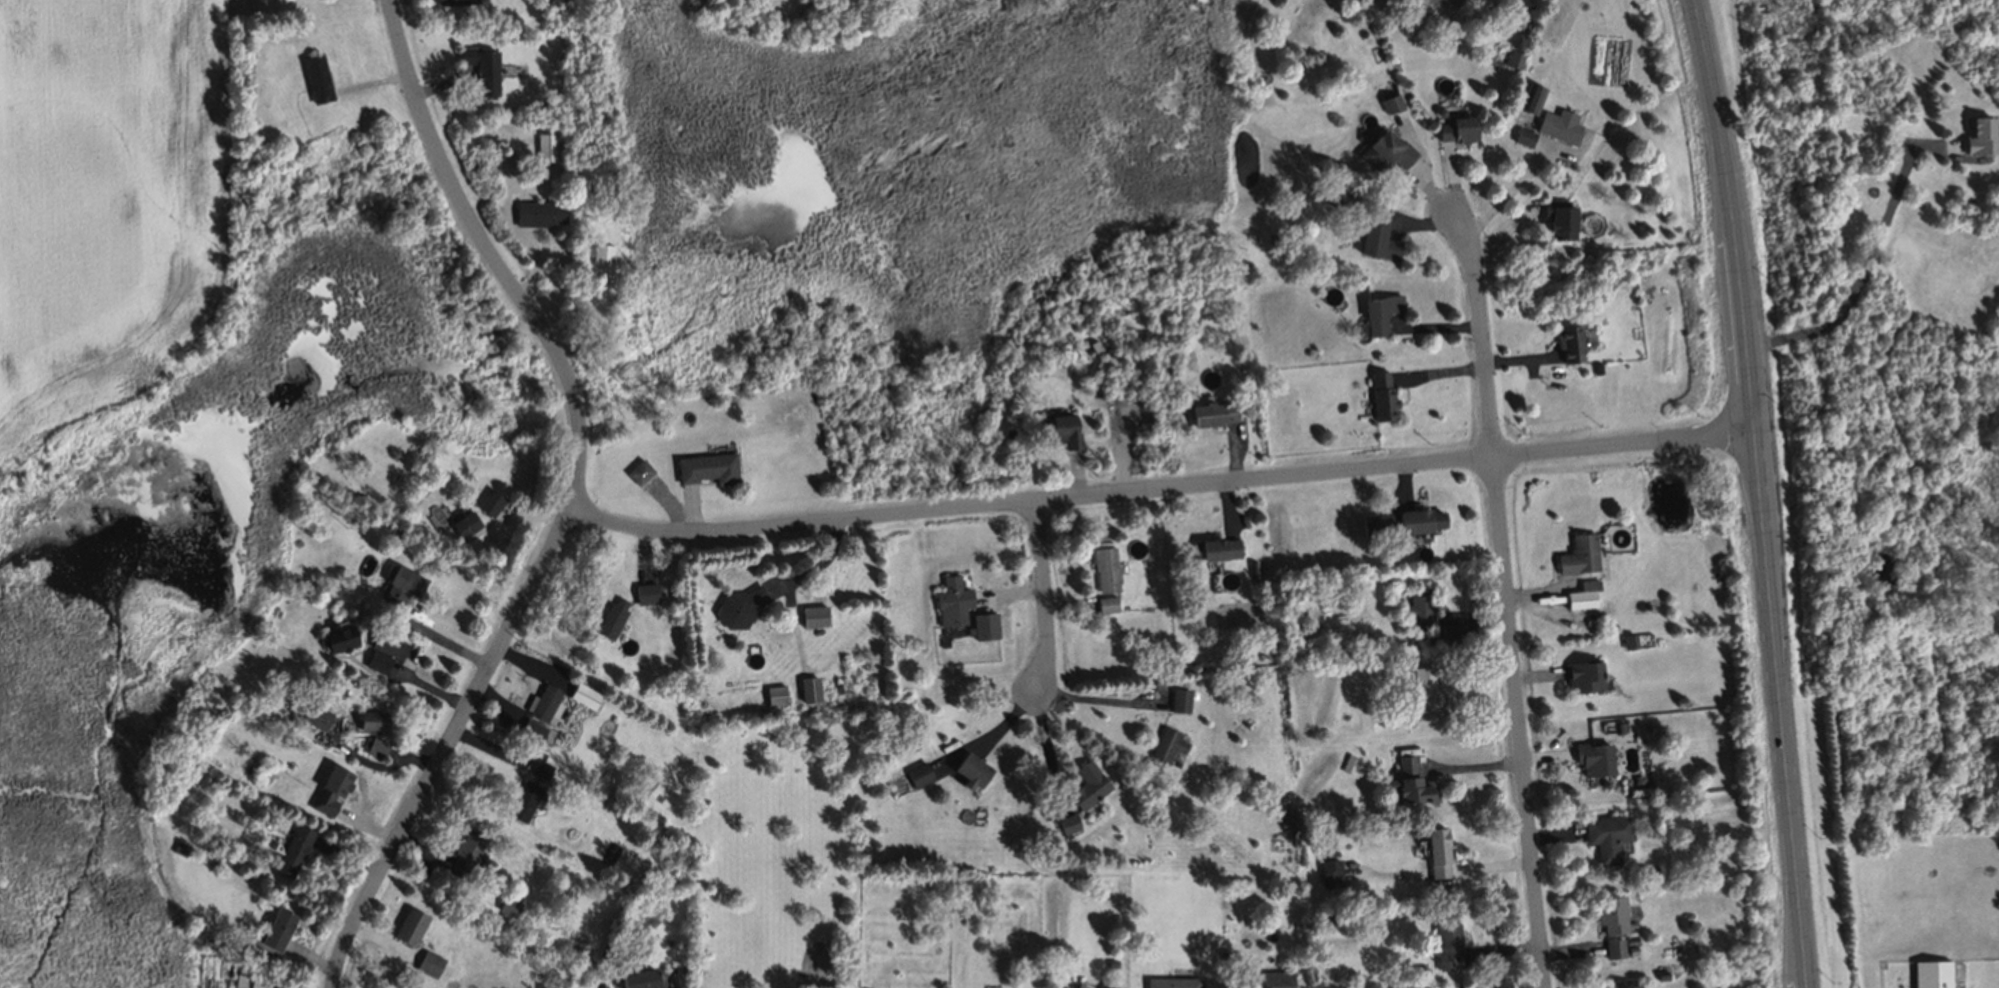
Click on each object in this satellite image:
building: (455, 1)
building: (1522, 26)
building: (1513, 58)
building: (481, 66)
building: (315, 77)
building: (1530, 97)
building: (544, 98)
building: (1391, 103)
building: (1439, 110)
building: (1557, 125)
building: (1456, 129)
building: (1980, 136)
building: (1522, 137)
building: (544, 146)
building: (1386, 150)
building: (566, 172)
building: (1332, 192)
road: (1505, 196)
building: (538, 212)
building: (1557, 218)
building: (1375, 239)
building: (601, 253)
road: (1865, 264)
building: (1377, 311)
building: (1568, 343)
building: (1596, 367)
building: (1381, 396)
building: (1212, 412)
building: (1060, 429)
building: (707, 467)
building: (638, 471)
road: (1165, 491)
road: (1761, 492)
building: (489, 501)
road: (578, 501)
building: (1418, 520)
building: (464, 523)
building: (1375, 525)
building: (1215, 549)
building: (1577, 554)
building: (1394, 557)
building: (1103, 567)
building: (1250, 567)
building: (1253, 578)
building: (399, 584)
building: (646, 591)
road: (1045, 597)
road: (1509, 597)
building: (1579, 598)
building: (951, 600)
building: (1104, 602)
building: (738, 606)
building: (1418, 607)
building: (812, 615)
building: (611, 617)
building: (1607, 621)
building: (984, 625)
building: (1449, 630)
building: (338, 637)
road: (441, 639)
building: (1431, 639)
building: (1627, 641)
building: (1409, 644)
building: (380, 651)
building: (1582, 675)
building: (1161, 683)
building: (1424, 687)
building: (808, 688)
building: (582, 694)
building: (774, 694)
road: (1098, 699)
building: (1178, 700)
building: (542, 702)
building: (314, 715)
building: (1388, 716)
building: (370, 719)
building: (1619, 727)
building: (530, 729)
building: (1166, 741)
building: (374, 745)
road: (1049, 747)
building: (1593, 758)
building: (541, 768)
building: (970, 769)
building: (918, 773)
building: (645, 777)
building: (1086, 784)
building: (1410, 784)
building: (1604, 784)
building: (329, 789)
building: (523, 800)
building: (1067, 822)
building: (1281, 825)
building: (1605, 834)
building: (179, 847)
building: (292, 849)
building: (465, 852)
building: (1437, 852)
building: (1652, 870)
building: (1330, 871)
building: (507, 905)
building: (1610, 913)
building: (1333, 920)
building: (409, 925)
building: (277, 928)
building: (1445, 939)
building: (1614, 948)
building: (1630, 951)
building: (1225, 955)
building: (428, 962)
building: (1111, 964)
building: (1421, 971)
building: (1661, 974)
building: (1933, 975)
building: (637, 978)
building: (260, 980)
building: (1172, 980)
building: (1262, 980)
building: (1625, 986)
building: (1107, 987)

